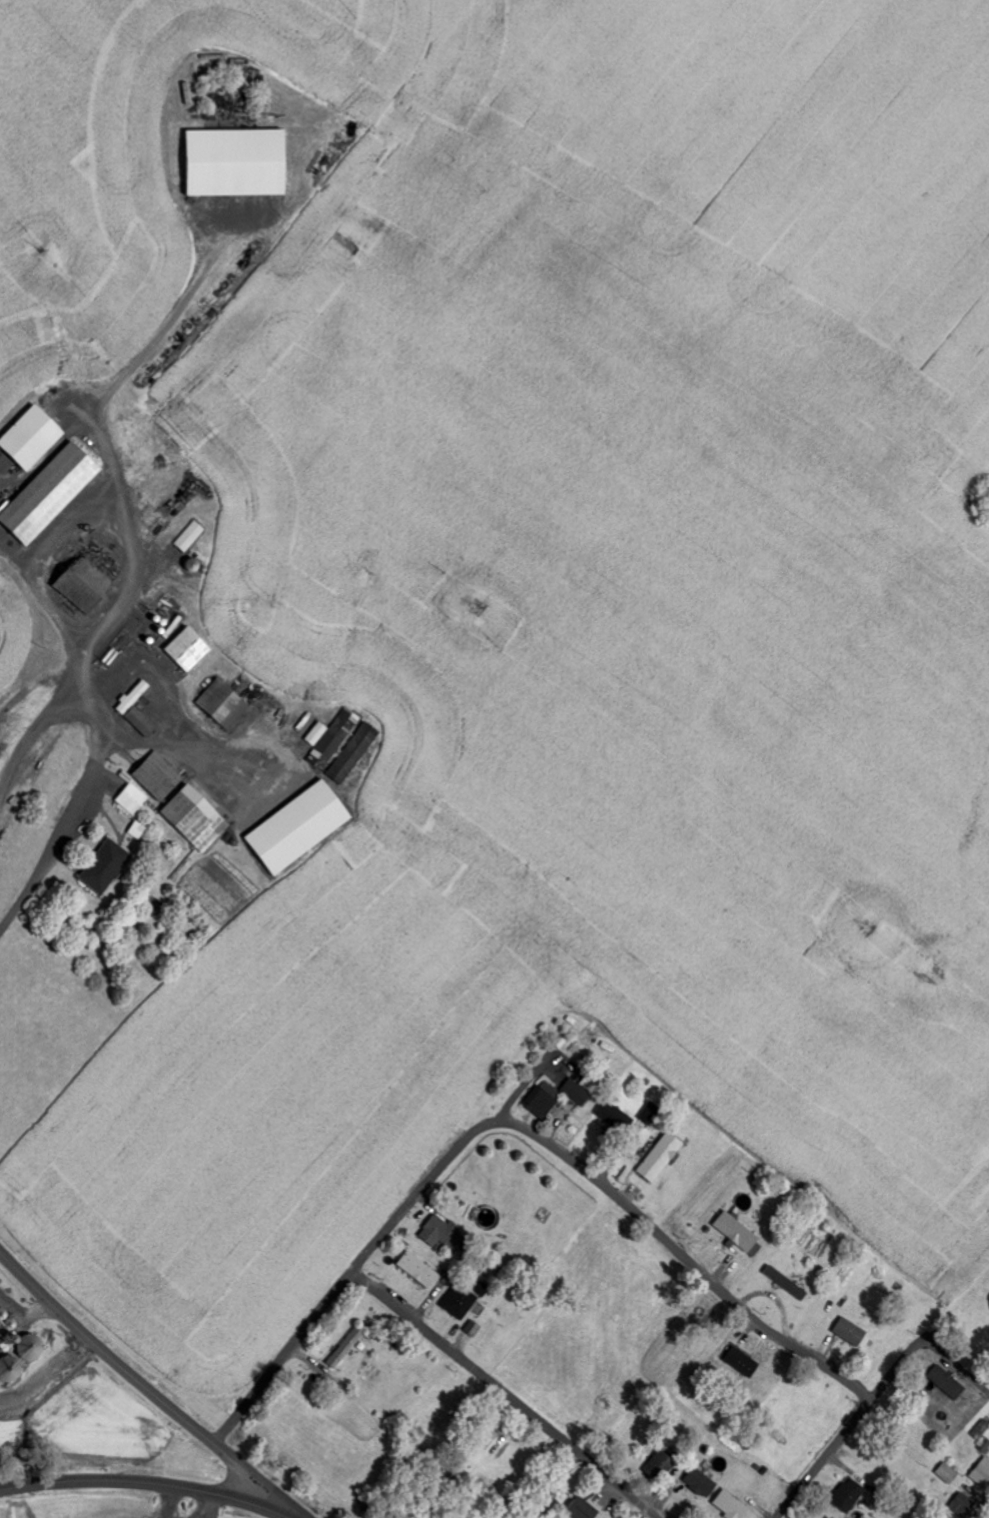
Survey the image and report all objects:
building: (240, 162)
building: (35, 439)
building: (54, 493)
building: (192, 537)
building: (88, 587)
building: (191, 649)
building: (227, 703)
building: (140, 710)
building: (329, 736)
building: (354, 752)
road: (100, 758)
building: (178, 802)
building: (302, 828)
building: (109, 867)
building: (578, 1092)
building: (544, 1099)
building: (652, 1114)
building: (613, 1115)
building: (663, 1157)
building: (739, 1231)
building: (445, 1234)
road: (682, 1257)
building: (421, 1269)
road: (348, 1277)
building: (788, 1282)
building: (462, 1302)
building: (475, 1329)
building: (853, 1332)
road: (926, 1344)
building: (348, 1348)
building: (19, 1350)
building: (744, 1362)
building: (949, 1383)
road: (147, 1387)
road: (505, 1394)
road: (822, 1459)
building: (663, 1465)
building: (949, 1474)
building: (982, 1474)
road: (149, 1482)
building: (703, 1483)
building: (851, 1495)
building: (733, 1505)
building: (965, 1506)
building: (583, 1510)

